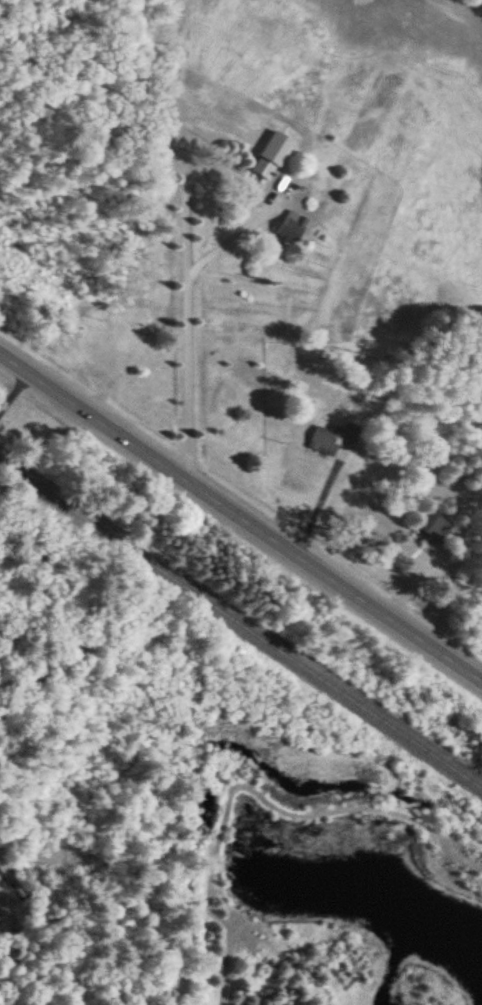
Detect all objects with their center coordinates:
building: (275, 156)
building: (288, 189)
building: (295, 226)
building: (334, 440)
road: (241, 518)
building: (437, 524)
railway: (241, 624)

